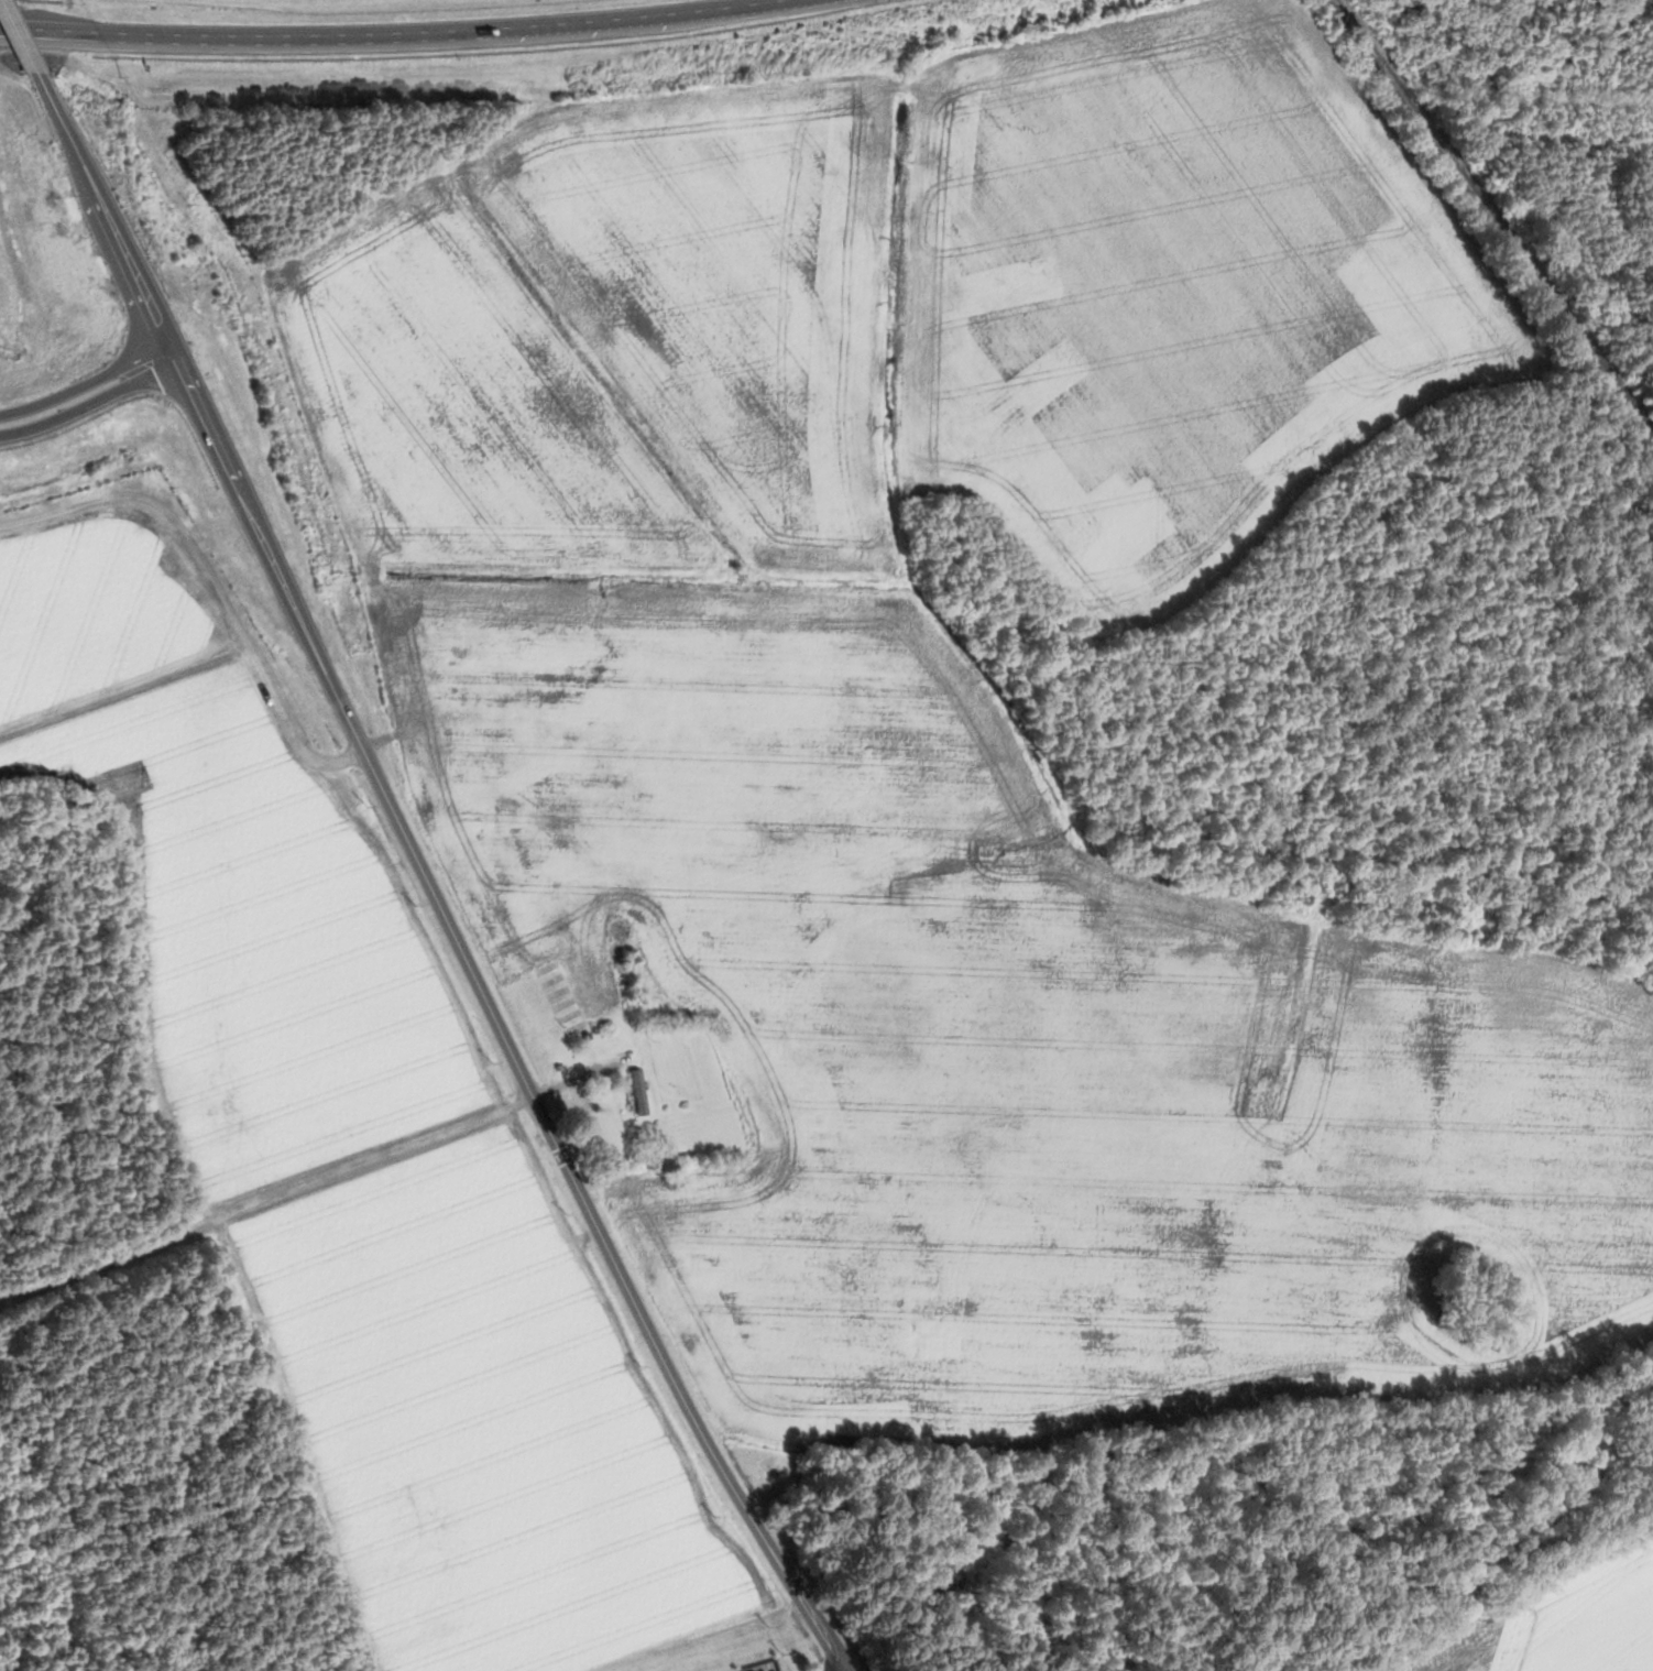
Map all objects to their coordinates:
road: (390, 33)
road: (30, 37)
road: (12, 45)
railway: (1492, 216)
road: (83, 382)
road: (85, 397)
road: (428, 875)
building: (638, 1090)
road: (344, 1171)
road: (844, 1670)

